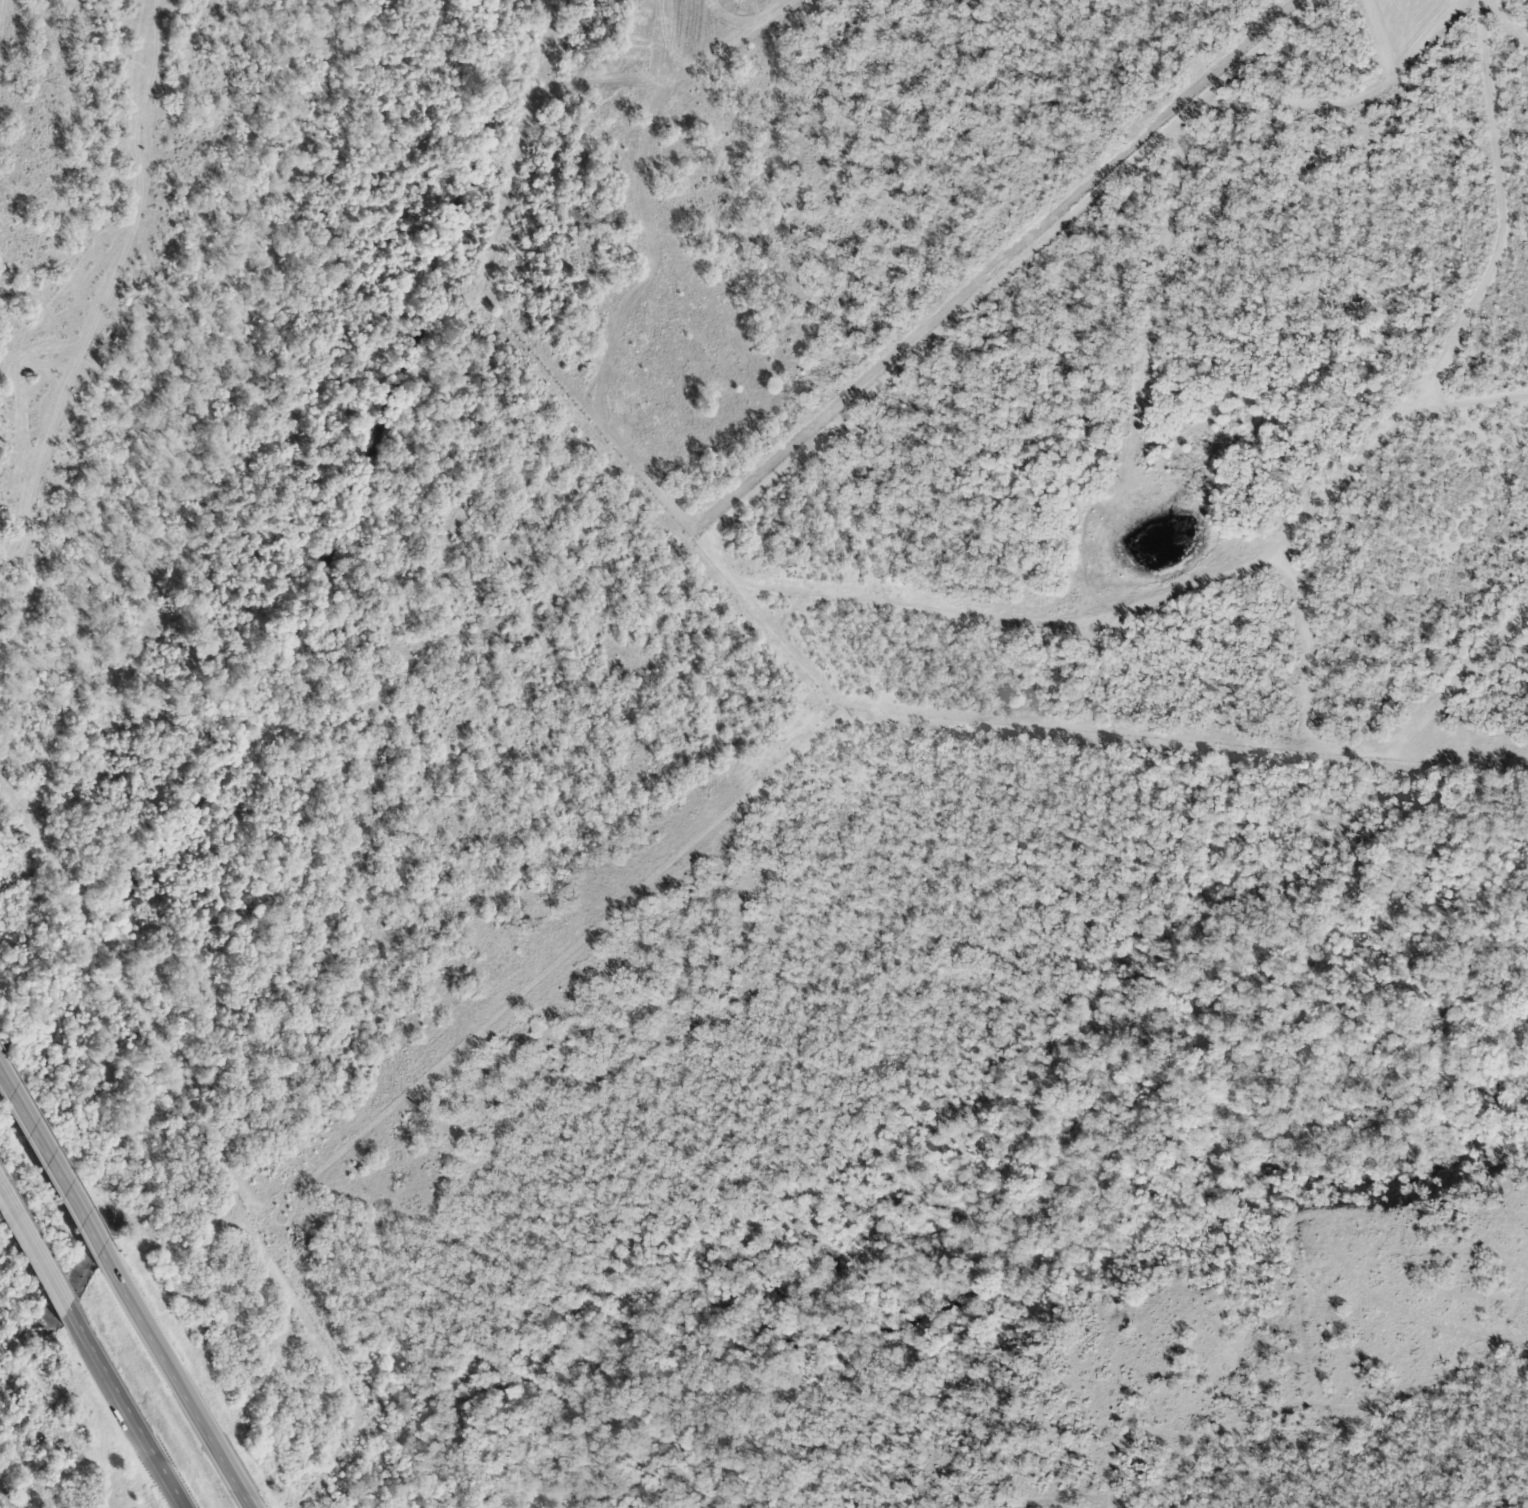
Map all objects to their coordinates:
river: (314, 560)
road: (52, 1160)
road: (33, 1253)
road: (178, 1379)
road: (125, 1409)

